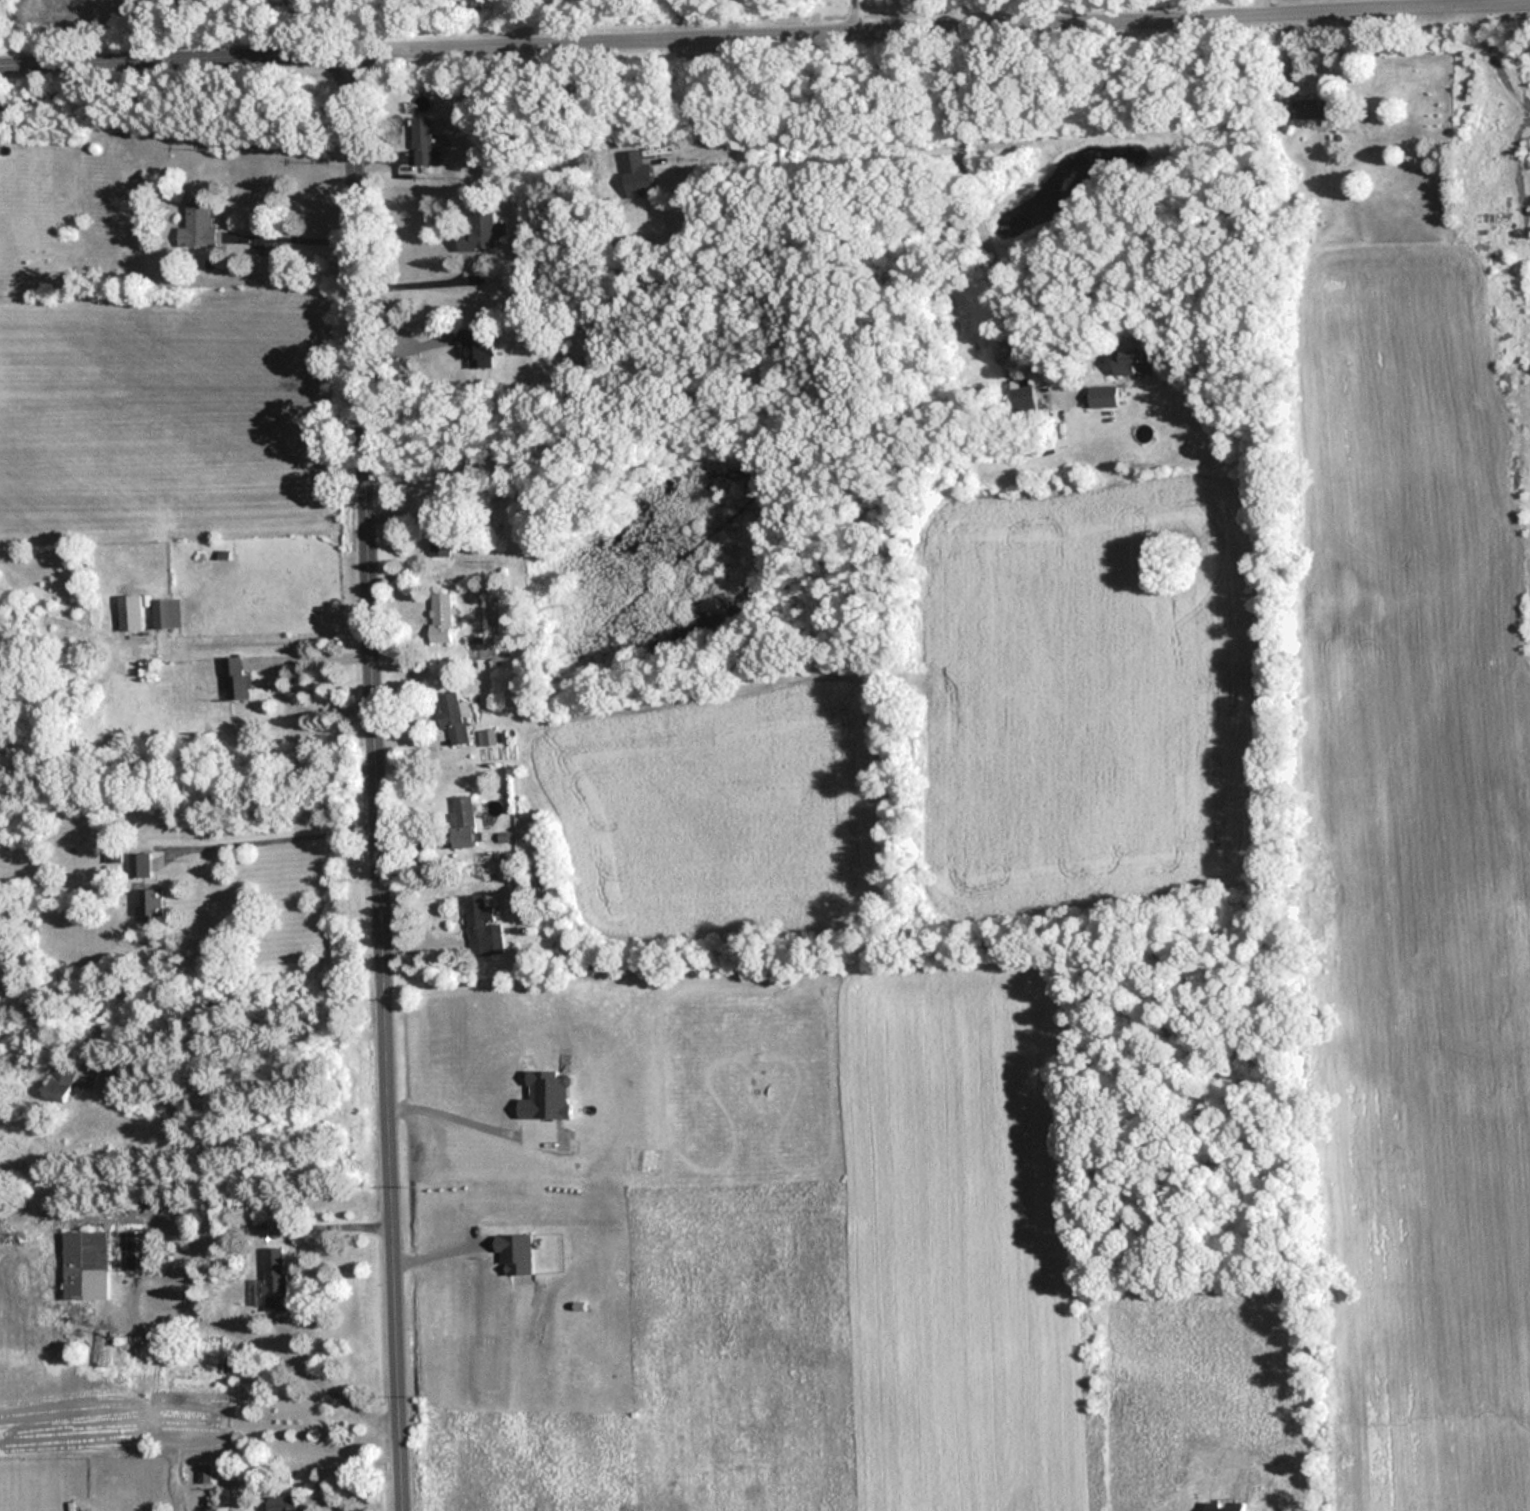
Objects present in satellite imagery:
road: (1262, 3)
road: (850, 12)
road: (872, 23)
road: (174, 55)
road: (1490, 60)
road: (51, 96)
building: (1317, 109)
building: (424, 144)
building: (637, 174)
building: (196, 226)
building: (479, 233)
road: (294, 237)
road: (417, 285)
building: (1134, 363)
building: (1024, 397)
building: (1103, 397)
building: (440, 532)
building: (130, 614)
building: (166, 614)
building: (441, 618)
road: (313, 657)
building: (237, 680)
road: (302, 709)
building: (453, 716)
road: (373, 779)
building: (463, 822)
road: (277, 838)
building: (140, 864)
building: (544, 872)
building: (151, 901)
building: (484, 927)
building: (96, 1030)
building: (62, 1078)
building: (102, 1260)
building: (267, 1285)
road: (183, 1296)
building: (157, 1300)
building: (283, 1503)

